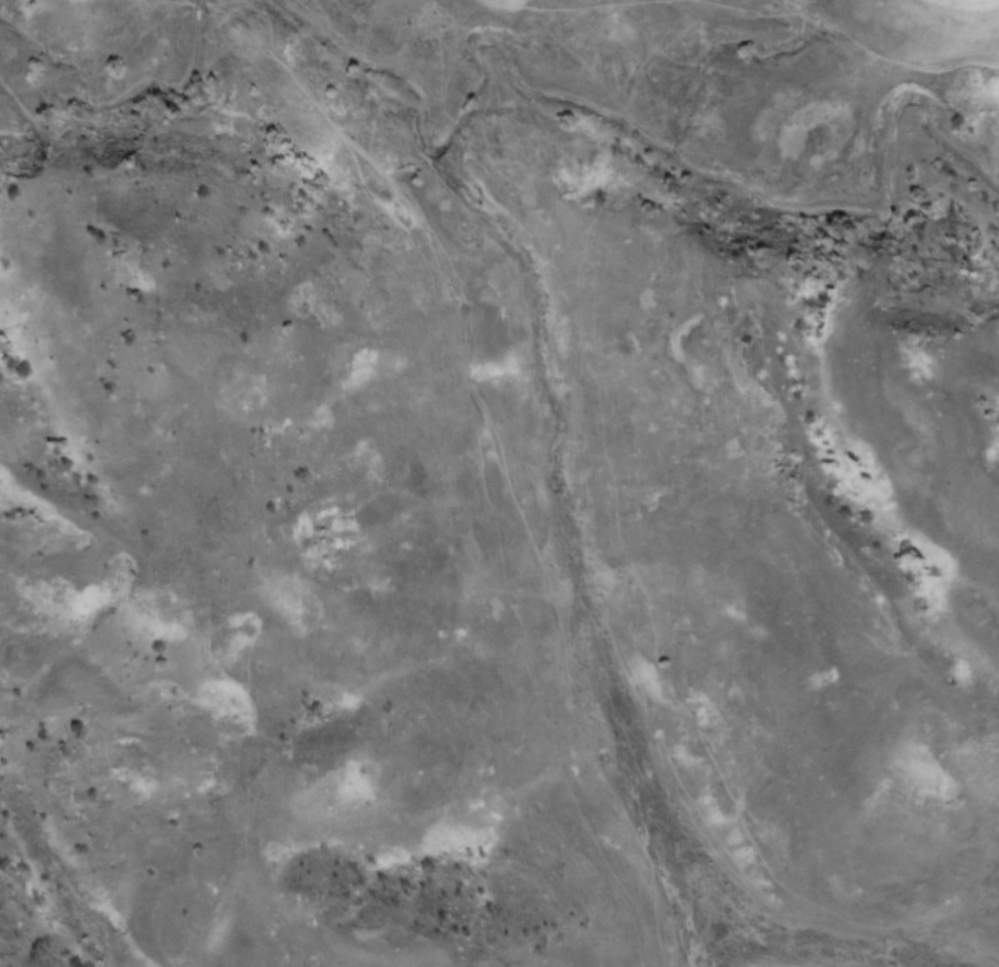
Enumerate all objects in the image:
road: (581, 1)
road: (846, 36)
road: (525, 443)

